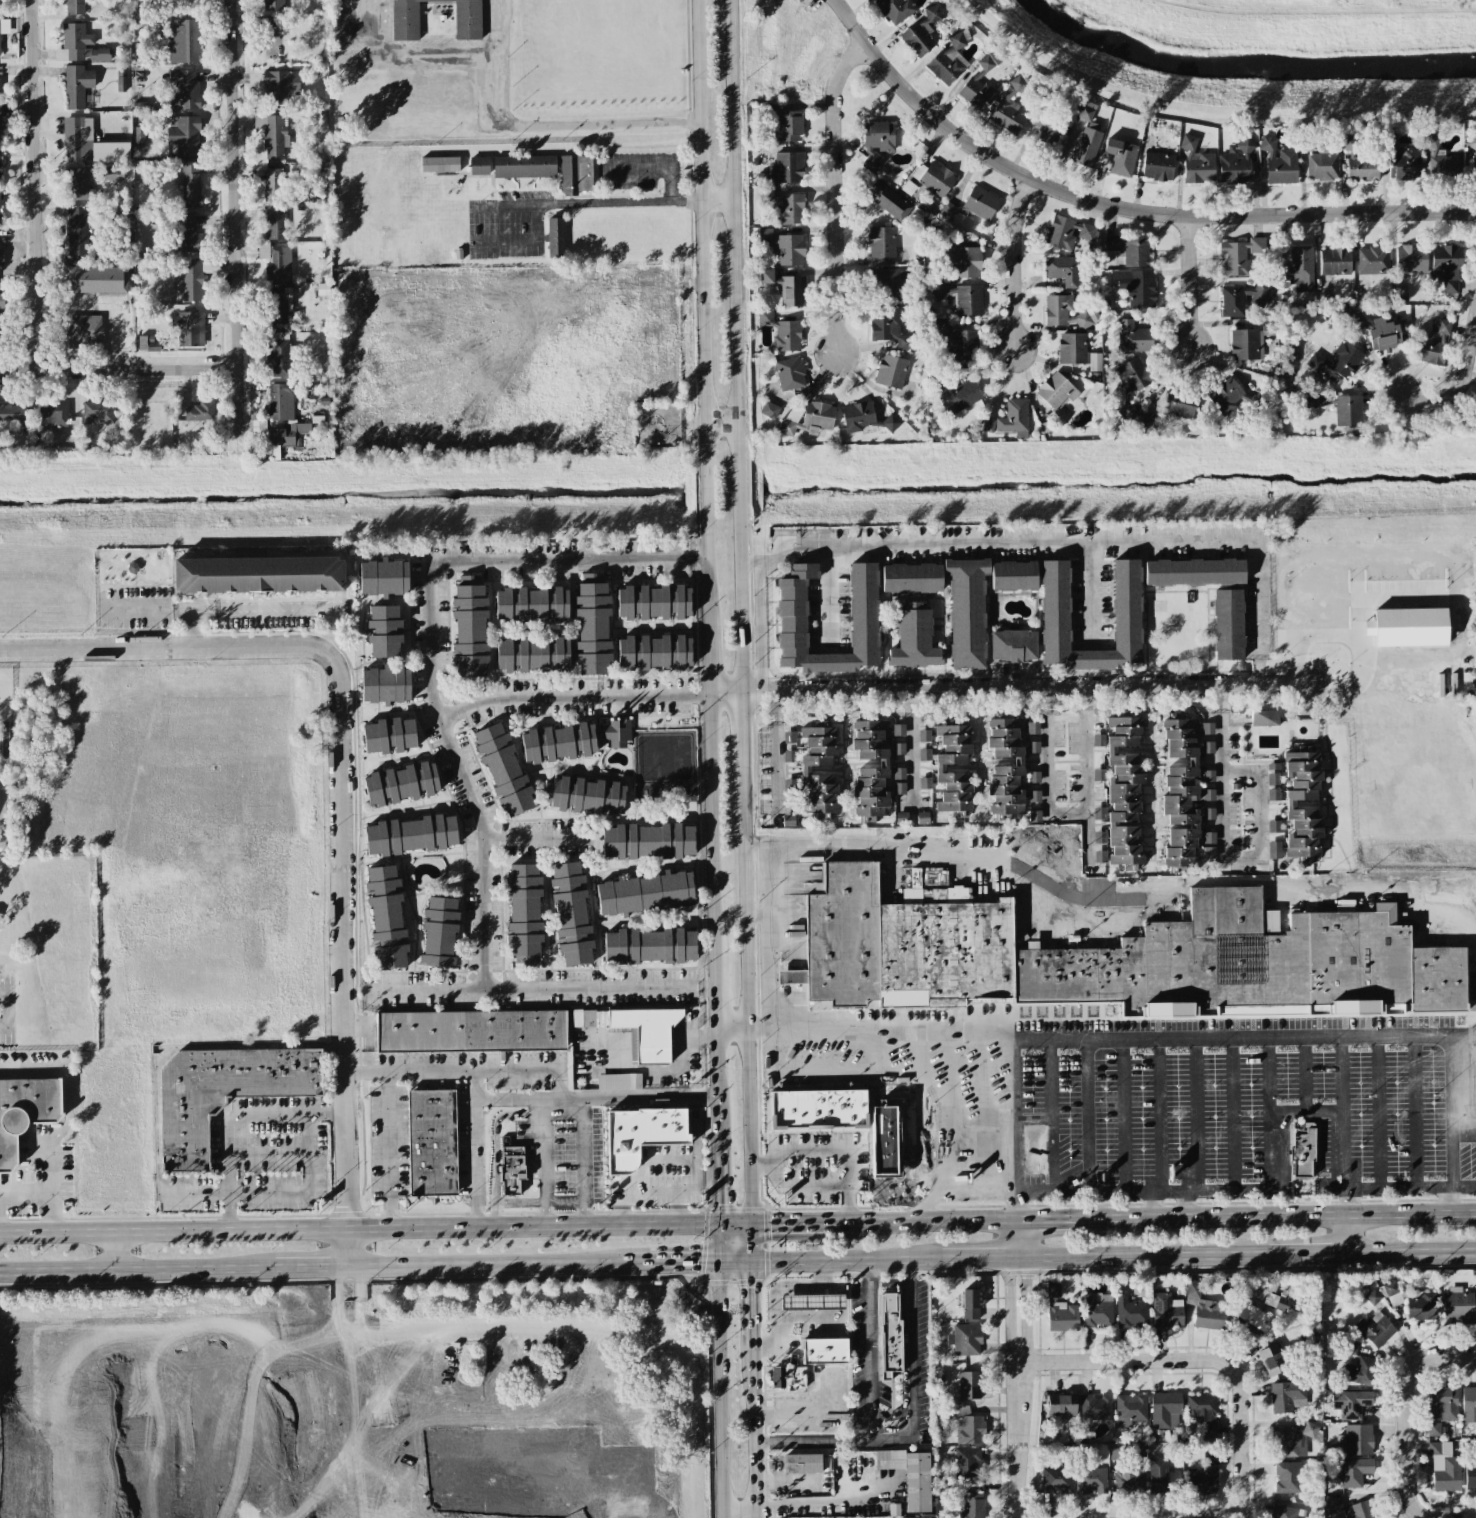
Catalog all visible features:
building: (272, 5)
building: (75, 6)
building: (895, 9)
building: (467, 21)
building: (4, 26)
building: (923, 31)
building: (184, 42)
building: (73, 43)
building: (99, 54)
road: (441, 56)
building: (990, 59)
building: (949, 60)
river: (1250, 64)
building: (121, 84)
building: (76, 86)
building: (280, 86)
building: (0, 88)
building: (183, 89)
building: (976, 92)
building: (1010, 107)
road: (362, 110)
building: (1086, 110)
road: (529, 125)
building: (1047, 125)
building: (787, 126)
building: (272, 135)
building: (77, 139)
building: (877, 141)
building: (1086, 147)
building: (1471, 155)
building: (1120, 157)
building: (1439, 158)
building: (1196, 162)
building: (1236, 162)
building: (1279, 162)
building: (1403, 163)
building: (439, 164)
building: (1322, 165)
building: (479, 166)
building: (524, 166)
building: (1158, 166)
building: (788, 167)
building: (109, 173)
road: (656, 173)
building: (0, 174)
building: (575, 174)
building: (934, 178)
building: (191, 184)
building: (272, 184)
road: (35, 185)
building: (77, 185)
road: (834, 192)
building: (888, 200)
road: (715, 202)
road: (587, 203)
building: (972, 205)
road: (1117, 206)
building: (789, 209)
road: (234, 218)
building: (275, 223)
building: (77, 231)
building: (1067, 232)
building: (188, 235)
building: (766, 236)
building: (555, 237)
road: (528, 240)
building: (881, 242)
building: (1130, 249)
building: (790, 250)
building: (1, 253)
building: (1239, 256)
building: (966, 257)
building: (1411, 259)
building: (1373, 260)
building: (275, 261)
building: (1335, 261)
road: (1014, 263)
building: (1447, 267)
building: (1299, 269)
building: (1062, 270)
building: (83, 278)
building: (194, 278)
road: (1192, 282)
building: (886, 284)
building: (786, 287)
building: (1136, 287)
building: (960, 298)
building: (1235, 299)
building: (1, 300)
building: (279, 304)
building: (1061, 312)
building: (1440, 327)
building: (888, 328)
building: (190, 329)
building: (1, 331)
building: (83, 332)
building: (782, 332)
building: (1384, 334)
building: (1133, 337)
building: (957, 340)
building: (1248, 342)
building: (147, 344)
road: (734, 347)
building: (1427, 350)
building: (1077, 351)
building: (279, 354)
building: (1289, 355)
building: (1337, 361)
road: (118, 369)
building: (891, 371)
building: (790, 374)
building: (1129, 388)
building: (1055, 390)
road: (1457, 393)
building: (957, 395)
building: (1226, 396)
building: (1317, 399)
building: (280, 401)
building: (1179, 405)
building: (769, 410)
building: (99, 411)
building: (1347, 411)
building: (12, 412)
building: (200, 412)
building: (53, 413)
building: (818, 415)
building: (864, 418)
building: (1010, 419)
building: (791, 420)
road: (718, 424)
building: (288, 434)
road: (701, 484)
road: (1036, 538)
road: (755, 564)
building: (1194, 572)
building: (258, 575)
building: (1013, 576)
building: (383, 578)
building: (911, 578)
road: (839, 586)
road: (1092, 587)
building: (653, 602)
building: (531, 605)
building: (1055, 605)
road: (264, 608)
building: (966, 612)
road: (1358, 614)
building: (792, 616)
building: (1228, 625)
building: (592, 626)
building: (469, 627)
building: (1408, 627)
building: (383, 631)
road: (1306, 637)
building: (914, 638)
road: (433, 645)
road: (147, 646)
building: (1013, 646)
building: (654, 652)
building: (532, 654)
building: (385, 685)
road: (1032, 692)
road: (723, 694)
road: (574, 698)
building: (1264, 718)
building: (1098, 722)
building: (1032, 728)
building: (1207, 728)
road: (741, 729)
building: (898, 730)
building: (616, 733)
building: (924, 735)
building: (389, 736)
building: (789, 737)
building: (4, 739)
road: (916, 740)
building: (558, 743)
building: (1033, 747)
building: (1208, 747)
road: (782, 748)
building: (899, 749)
building: (924, 754)
building: (789, 756)
building: (883, 763)
road: (1232, 765)
building: (940, 768)
building: (1005, 768)
building: (503, 769)
building: (804, 770)
road: (1049, 772)
building: (898, 773)
building: (1273, 774)
road: (1088, 775)
building: (1099, 775)
building: (1208, 776)
building: (1033, 777)
building: (925, 783)
building: (401, 784)
building: (790, 785)
building: (899, 787)
building: (1123, 792)
building: (1180, 792)
road: (1265, 794)
building: (1273, 795)
building: (584, 796)
building: (1034, 796)
building: (1290, 804)
building: (1099, 813)
building: (1208, 813)
building: (1034, 816)
building: (1274, 826)
building: (410, 835)
building: (1100, 837)
road: (539, 838)
building: (647, 841)
road: (814, 841)
building: (1209, 845)
building: (1274, 850)
building: (1100, 856)
building: (934, 878)
road: (1377, 886)
building: (645, 893)
road: (1440, 905)
road: (787, 908)
building: (524, 913)
building: (571, 914)
road: (755, 916)
building: (386, 917)
road: (1047, 922)
building: (439, 931)
road: (344, 939)
building: (650, 946)
building: (1112, 956)
road: (789, 976)
building: (791, 977)
road: (542, 991)
road: (744, 995)
road: (711, 997)
road: (9, 1008)
road: (1114, 1025)
road: (727, 1026)
road: (767, 1026)
building: (638, 1030)
building: (470, 1031)
road: (680, 1059)
road: (412, 1071)
road: (368, 1073)
road: (67, 1074)
building: (1473, 1080)
road: (712, 1081)
building: (618, 1082)
building: (224, 1093)
road: (1449, 1096)
road: (636, 1098)
road: (517, 1099)
building: (818, 1109)
road: (1014, 1110)
building: (25, 1112)
road: (233, 1118)
building: (641, 1135)
road: (156, 1137)
building: (432, 1142)
road: (475, 1147)
road: (824, 1150)
building: (1034, 1151)
building: (1302, 1153)
building: (881, 1154)
road: (544, 1161)
road: (581, 1161)
road: (1449, 1161)
building: (511, 1170)
road: (716, 1180)
road: (801, 1184)
road: (53, 1186)
road: (1462, 1188)
road: (26, 1192)
road: (949, 1197)
road: (1449, 1200)
road: (1348, 1202)
road: (1185, 1204)
road: (1153, 1205)
road: (1014, 1207)
road: (924, 1209)
road: (1283, 1215)
road: (1053, 1219)
road: (929, 1220)
road: (795, 1224)
traffic signals: (718, 1225)
road: (732, 1225)
traffic signals: (746, 1226)
road: (359, 1228)
road: (1349, 1233)
road: (1016, 1237)
road: (746, 1244)
road: (113, 1250)
road: (1413, 1251)
road: (1310, 1254)
road: (980, 1256)
road: (1143, 1256)
road: (844, 1259)
road: (677, 1263)
traffic signals: (719, 1263)
road: (733, 1263)
traffic signals: (747, 1263)
road: (493, 1265)
road: (313, 1266)
road: (138, 1269)
building: (1054, 1290)
building: (1393, 1293)
building: (1372, 1297)
road: (337, 1299)
road: (358, 1299)
building: (1283, 1301)
building: (812, 1302)
building: (971, 1304)
road: (747, 1305)
building: (1458, 1305)
building: (1421, 1306)
building: (1204, 1308)
road: (1011, 1309)
road: (1024, 1310)
building: (1097, 1311)
building: (1166, 1311)
building: (1130, 1312)
building: (1063, 1317)
building: (1252, 1323)
road: (150, 1325)
building: (1375, 1329)
road: (602, 1332)
building: (889, 1334)
building: (965, 1339)
road: (868, 1343)
building: (1351, 1344)
road: (912, 1348)
road: (561, 1351)
road: (795, 1351)
building: (824, 1351)
road: (1163, 1360)
building: (1270, 1360)
road: (583, 1368)
road: (719, 1371)
building: (1360, 1371)
road: (905, 1376)
building: (788, 1377)
park: (150, 1384)
building: (968, 1385)
road: (572, 1387)
road: (791, 1395)
building: (1287, 1396)
park: (359, 1397)
building: (1351, 1403)
building: (1443, 1404)
building: (1469, 1404)
building: (1060, 1406)
building: (1095, 1407)
building: (1130, 1409)
building: (1165, 1410)
road: (811, 1412)
building: (1203, 1413)
road: (1405, 1414)
building: (965, 1425)
building: (1434, 1429)
road: (750, 1432)
road: (869, 1433)
road: (891, 1438)
building: (1290, 1439)
building: (1359, 1439)
building: (558, 1441)
road: (1017, 1441)
road: (809, 1442)
building: (802, 1463)
building: (968, 1463)
road: (350, 1465)
building: (1444, 1467)
building: (1354, 1472)
building: (1471, 1472)
building: (1204, 1475)
building: (910, 1476)
building: (1161, 1476)
building: (1287, 1477)
building: (1056, 1479)
building: (1129, 1479)
building: (1090, 1480)
road: (1242, 1483)
park: (154, 1484)
road: (493, 1484)
building: (943, 1492)
road: (817, 1502)
building: (971, 1505)
road: (361, 1506)
road: (443, 1507)
building: (1349, 1509)
building: (1285, 1512)
road: (19, 1513)
road: (386, 1513)
road: (736, 1517)

